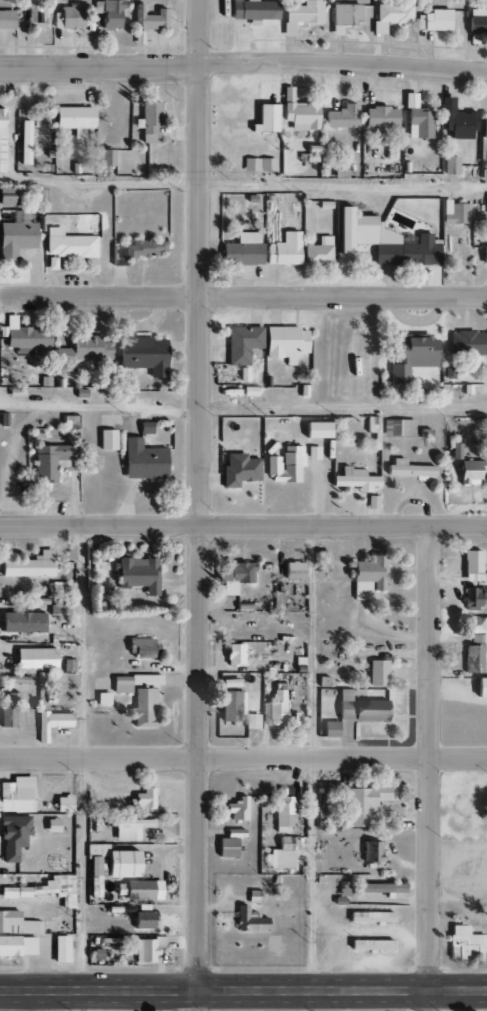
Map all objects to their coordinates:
building: (252, 10)
building: (34, 11)
building: (108, 13)
building: (300, 15)
building: (390, 15)
building: (67, 18)
building: (151, 19)
building: (6, 20)
building: (434, 20)
building: (477, 21)
road: (243, 65)
building: (287, 94)
building: (300, 115)
building: (338, 115)
building: (379, 117)
building: (266, 118)
building: (73, 119)
building: (416, 119)
building: (457, 120)
building: (148, 122)
building: (484, 126)
building: (1, 139)
building: (24, 142)
building: (308, 155)
building: (106, 157)
building: (258, 165)
building: (450, 165)
road: (243, 185)
building: (6, 196)
building: (455, 213)
building: (15, 239)
building: (382, 241)
building: (68, 244)
building: (135, 250)
building: (242, 250)
building: (283, 250)
building: (318, 252)
building: (484, 255)
road: (243, 292)
building: (27, 337)
building: (284, 343)
building: (467, 343)
building: (241, 344)
building: (83, 351)
building: (142, 355)
building: (410, 357)
road: (342, 407)
building: (69, 422)
building: (371, 424)
building: (401, 427)
building: (144, 428)
building: (316, 430)
building: (107, 440)
building: (455, 451)
building: (312, 453)
building: (142, 460)
building: (52, 461)
building: (284, 465)
building: (407, 469)
building: (238, 470)
building: (468, 472)
building: (486, 479)
building: (353, 481)
building: (372, 503)
road: (197, 505)
road: (243, 526)
building: (320, 562)
building: (28, 566)
building: (473, 568)
building: (292, 570)
building: (137, 575)
building: (235, 577)
building: (367, 577)
building: (62, 589)
building: (105, 589)
building: (474, 597)
building: (58, 610)
building: (22, 622)
building: (478, 630)
building: (141, 648)
building: (233, 655)
building: (34, 659)
building: (472, 660)
building: (377, 673)
building: (480, 688)
building: (139, 696)
building: (102, 699)
building: (230, 706)
building: (276, 708)
building: (361, 710)
building: (8, 711)
building: (251, 722)
building: (50, 723)
building: (330, 729)
road: (243, 754)
road: (84, 757)
road: (311, 759)
road: (423, 768)
building: (16, 795)
building: (142, 800)
building: (63, 804)
building: (361, 805)
building: (237, 809)
building: (282, 814)
building: (51, 826)
building: (128, 828)
building: (12, 836)
building: (228, 844)
building: (371, 852)
building: (280, 855)
building: (42, 888)
building: (380, 888)
building: (138, 890)
building: (143, 917)
building: (370, 917)
building: (249, 921)
building: (20, 927)
building: (465, 943)
building: (370, 945)
building: (17, 946)
building: (60, 949)
building: (148, 949)
road: (243, 991)

